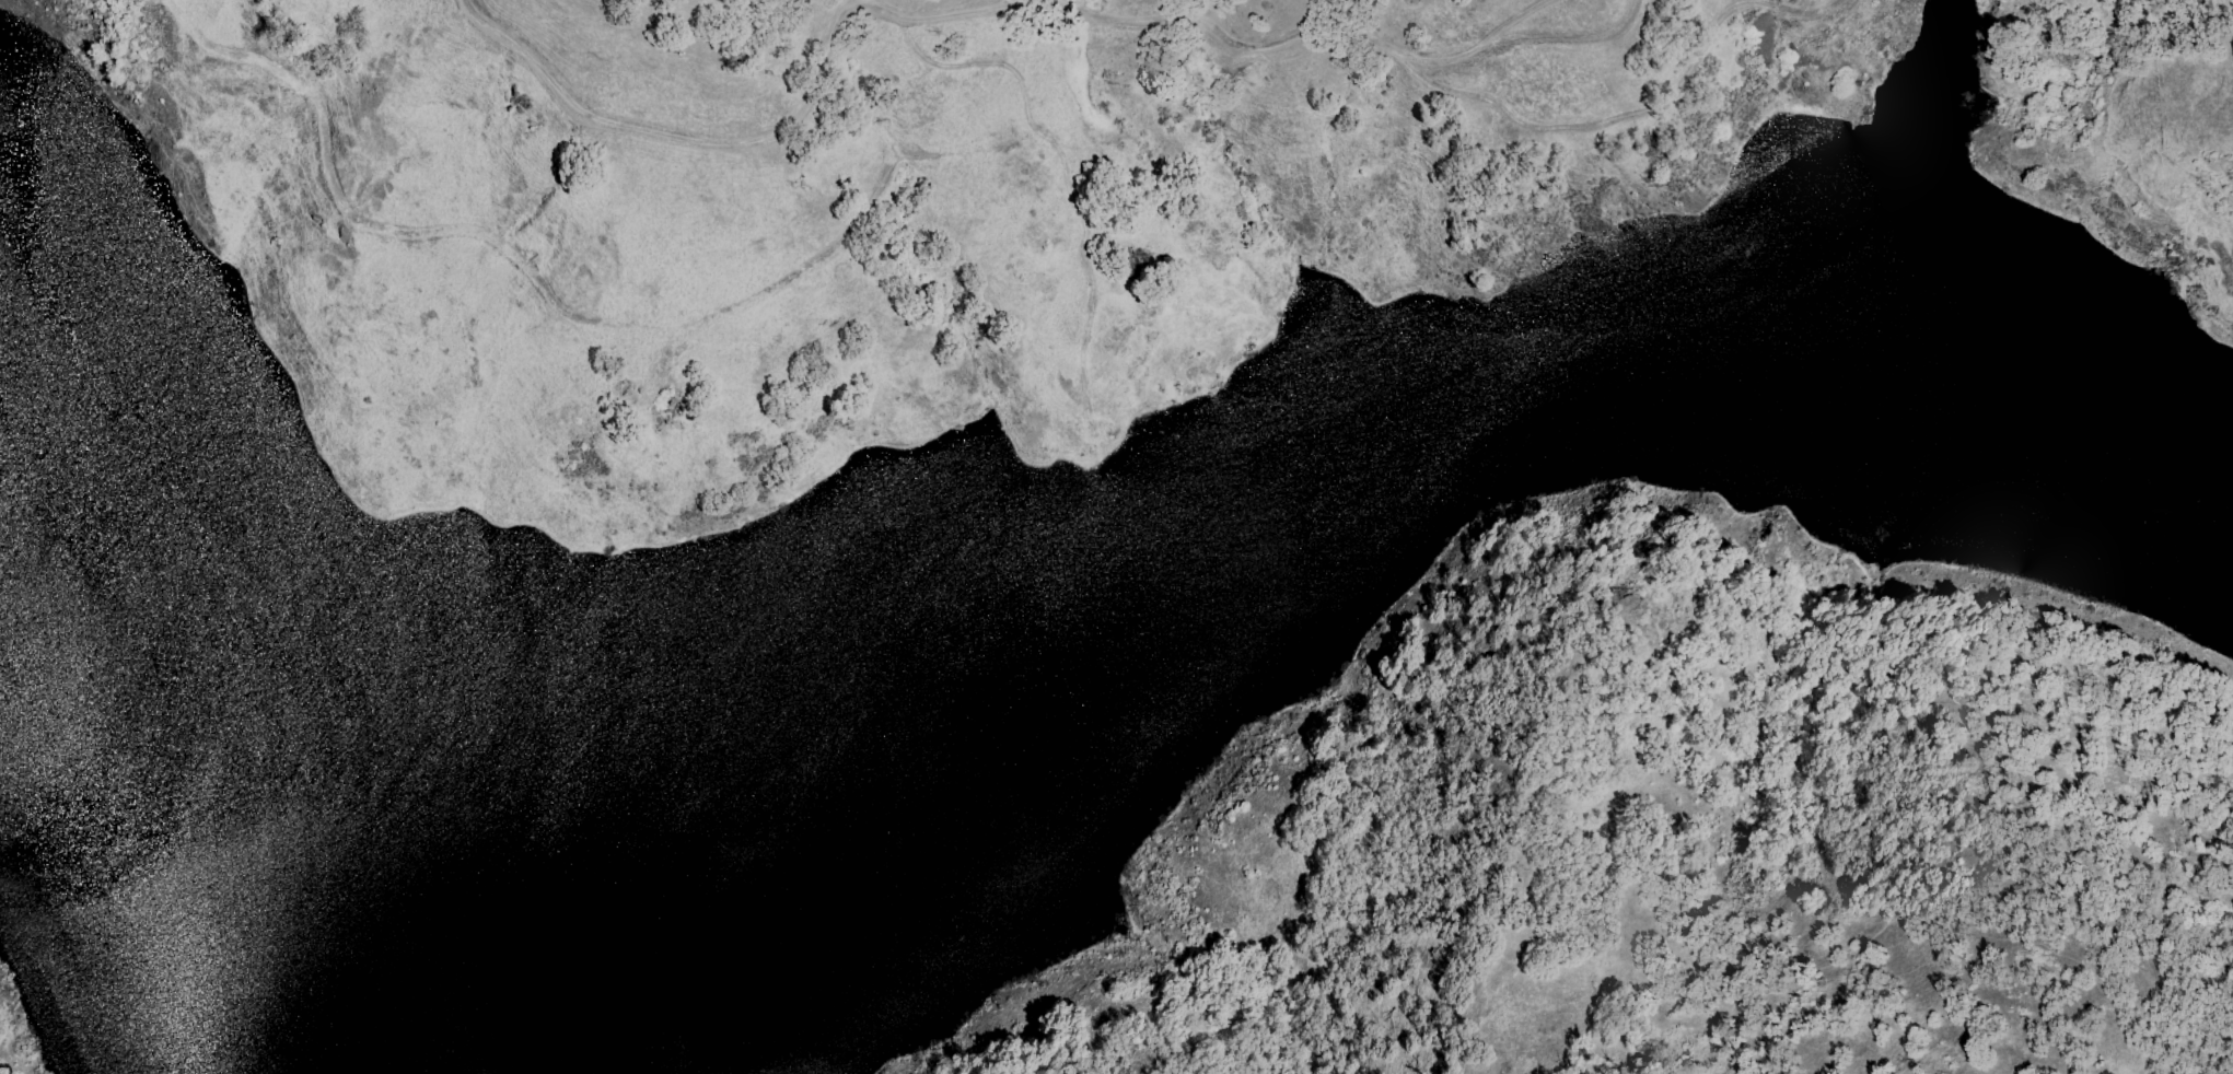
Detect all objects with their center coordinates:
road: (940, 17)

